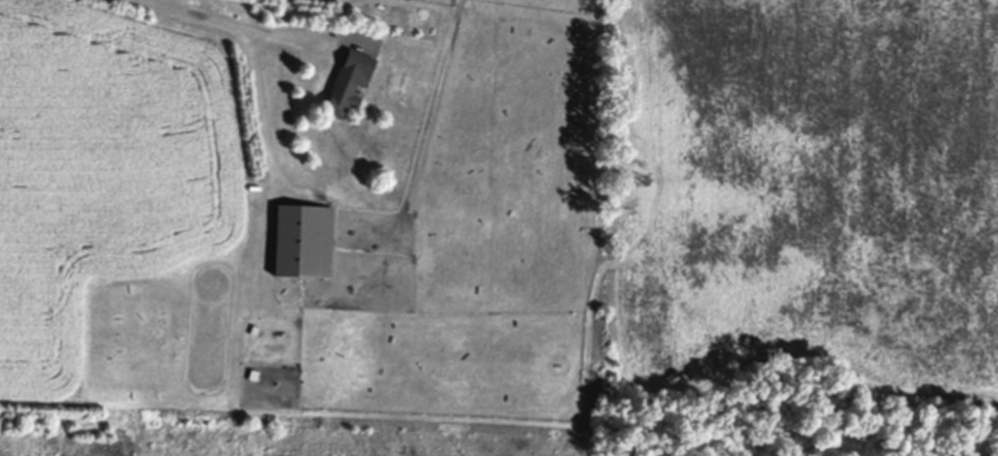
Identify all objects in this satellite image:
road: (234, 20)
building: (346, 82)
building: (301, 241)

